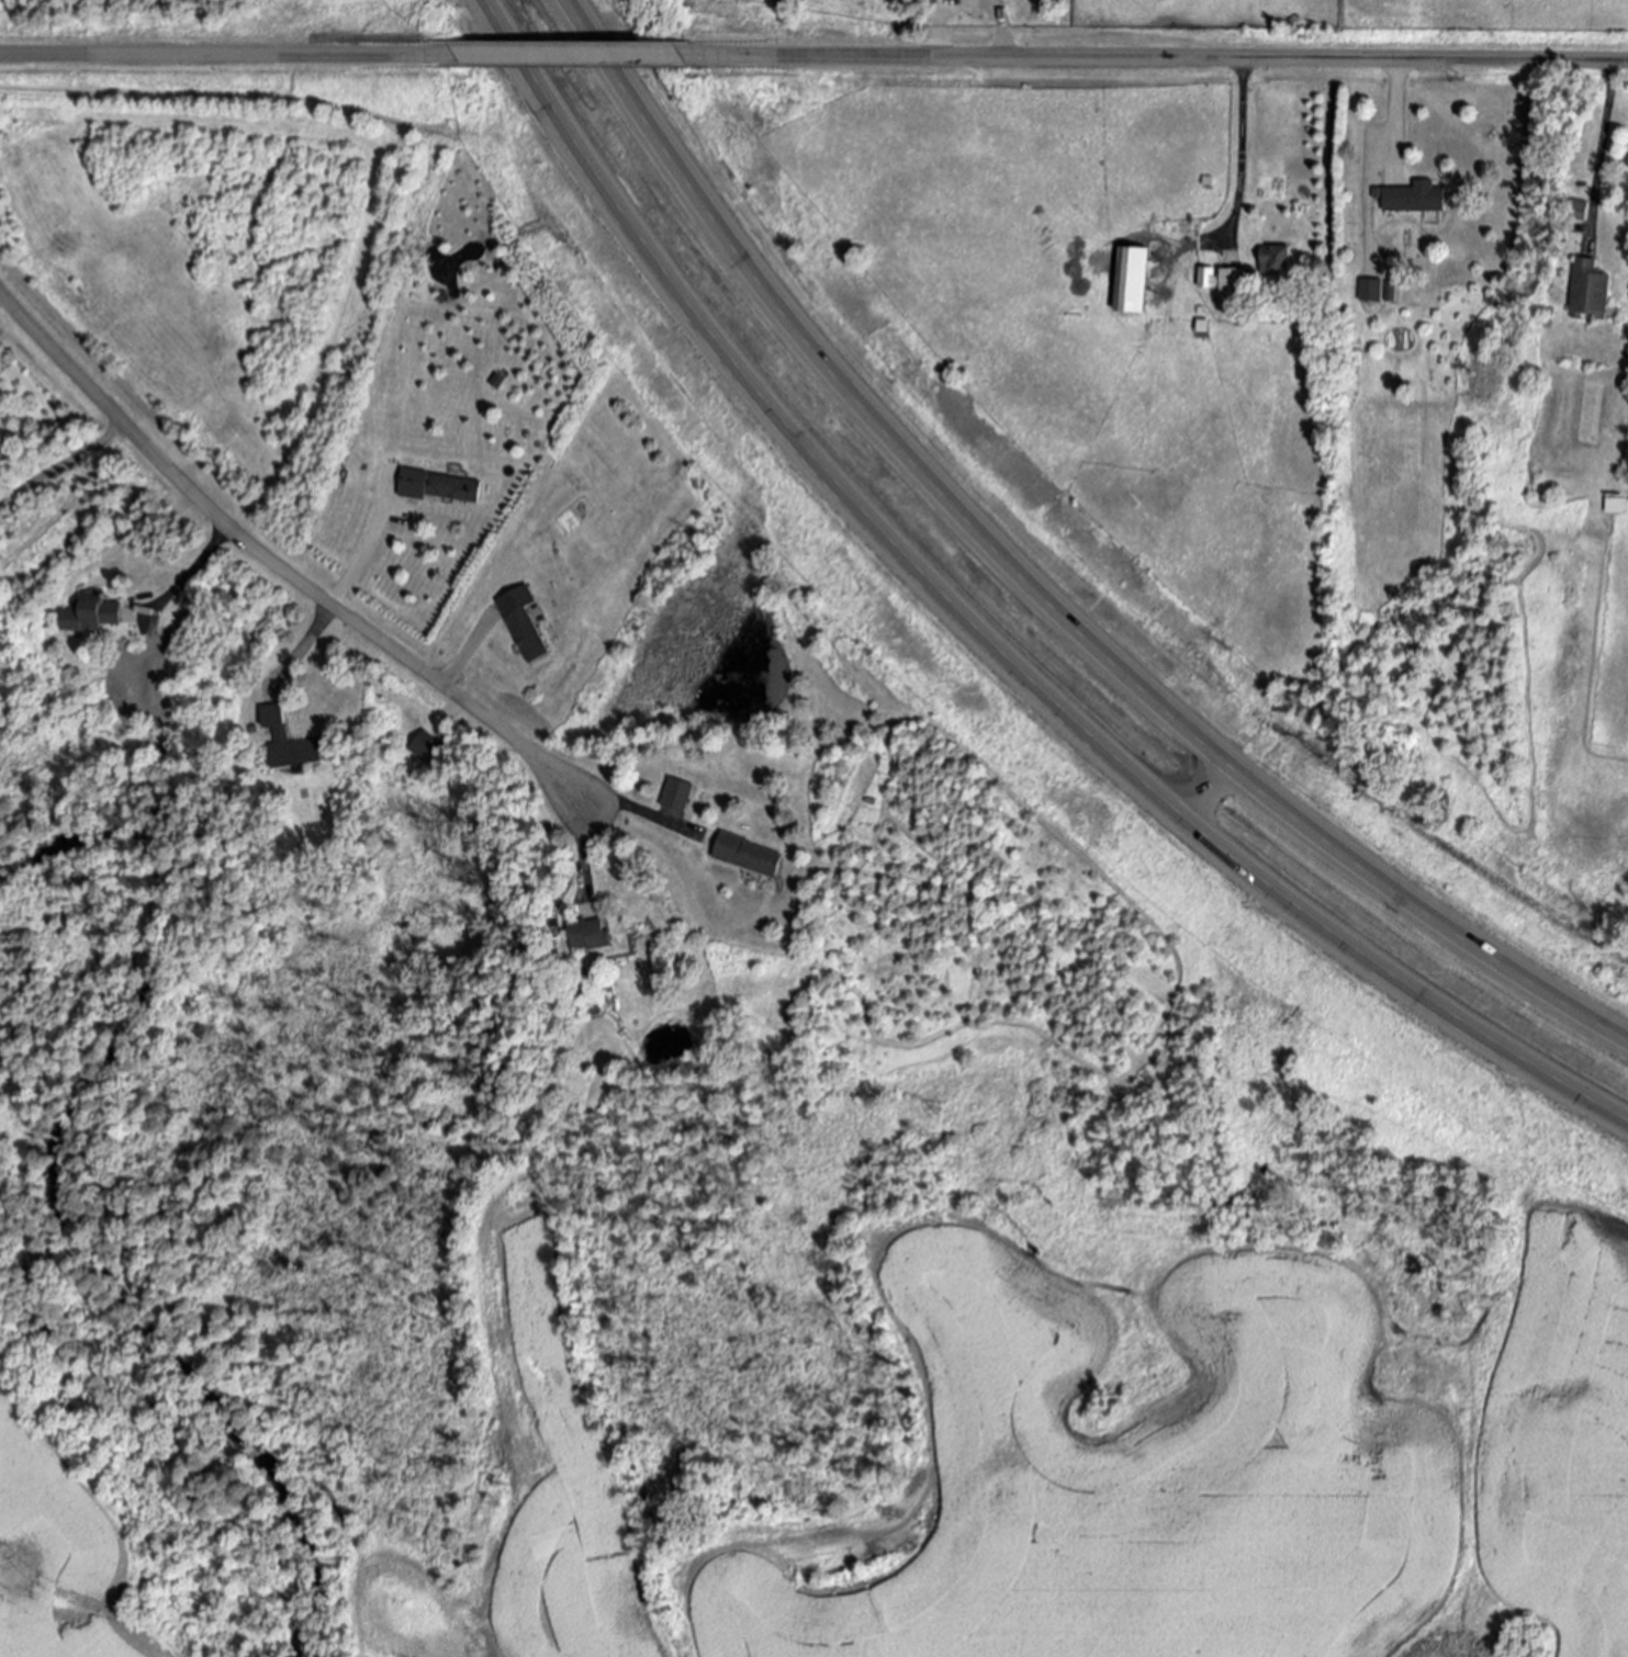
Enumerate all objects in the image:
road: (969, 1)
road: (203, 56)
road: (560, 57)
road: (1169, 61)
road: (1395, 106)
road: (1238, 146)
road: (1601, 147)
building: (1413, 199)
building: (1276, 260)
building: (1206, 277)
building: (1130, 281)
building: (1231, 289)
building: (1390, 290)
building: (1370, 292)
building: (1588, 292)
road: (60, 465)
building: (440, 486)
building: (1616, 505)
road: (273, 567)
road: (184, 574)
road: (1038, 582)
road: (340, 583)
building: (90, 612)
building: (526, 622)
road: (984, 631)
road: (468, 658)
building: (290, 741)
building: (426, 746)
building: (678, 794)
road: (587, 801)
building: (749, 855)
building: (590, 934)

